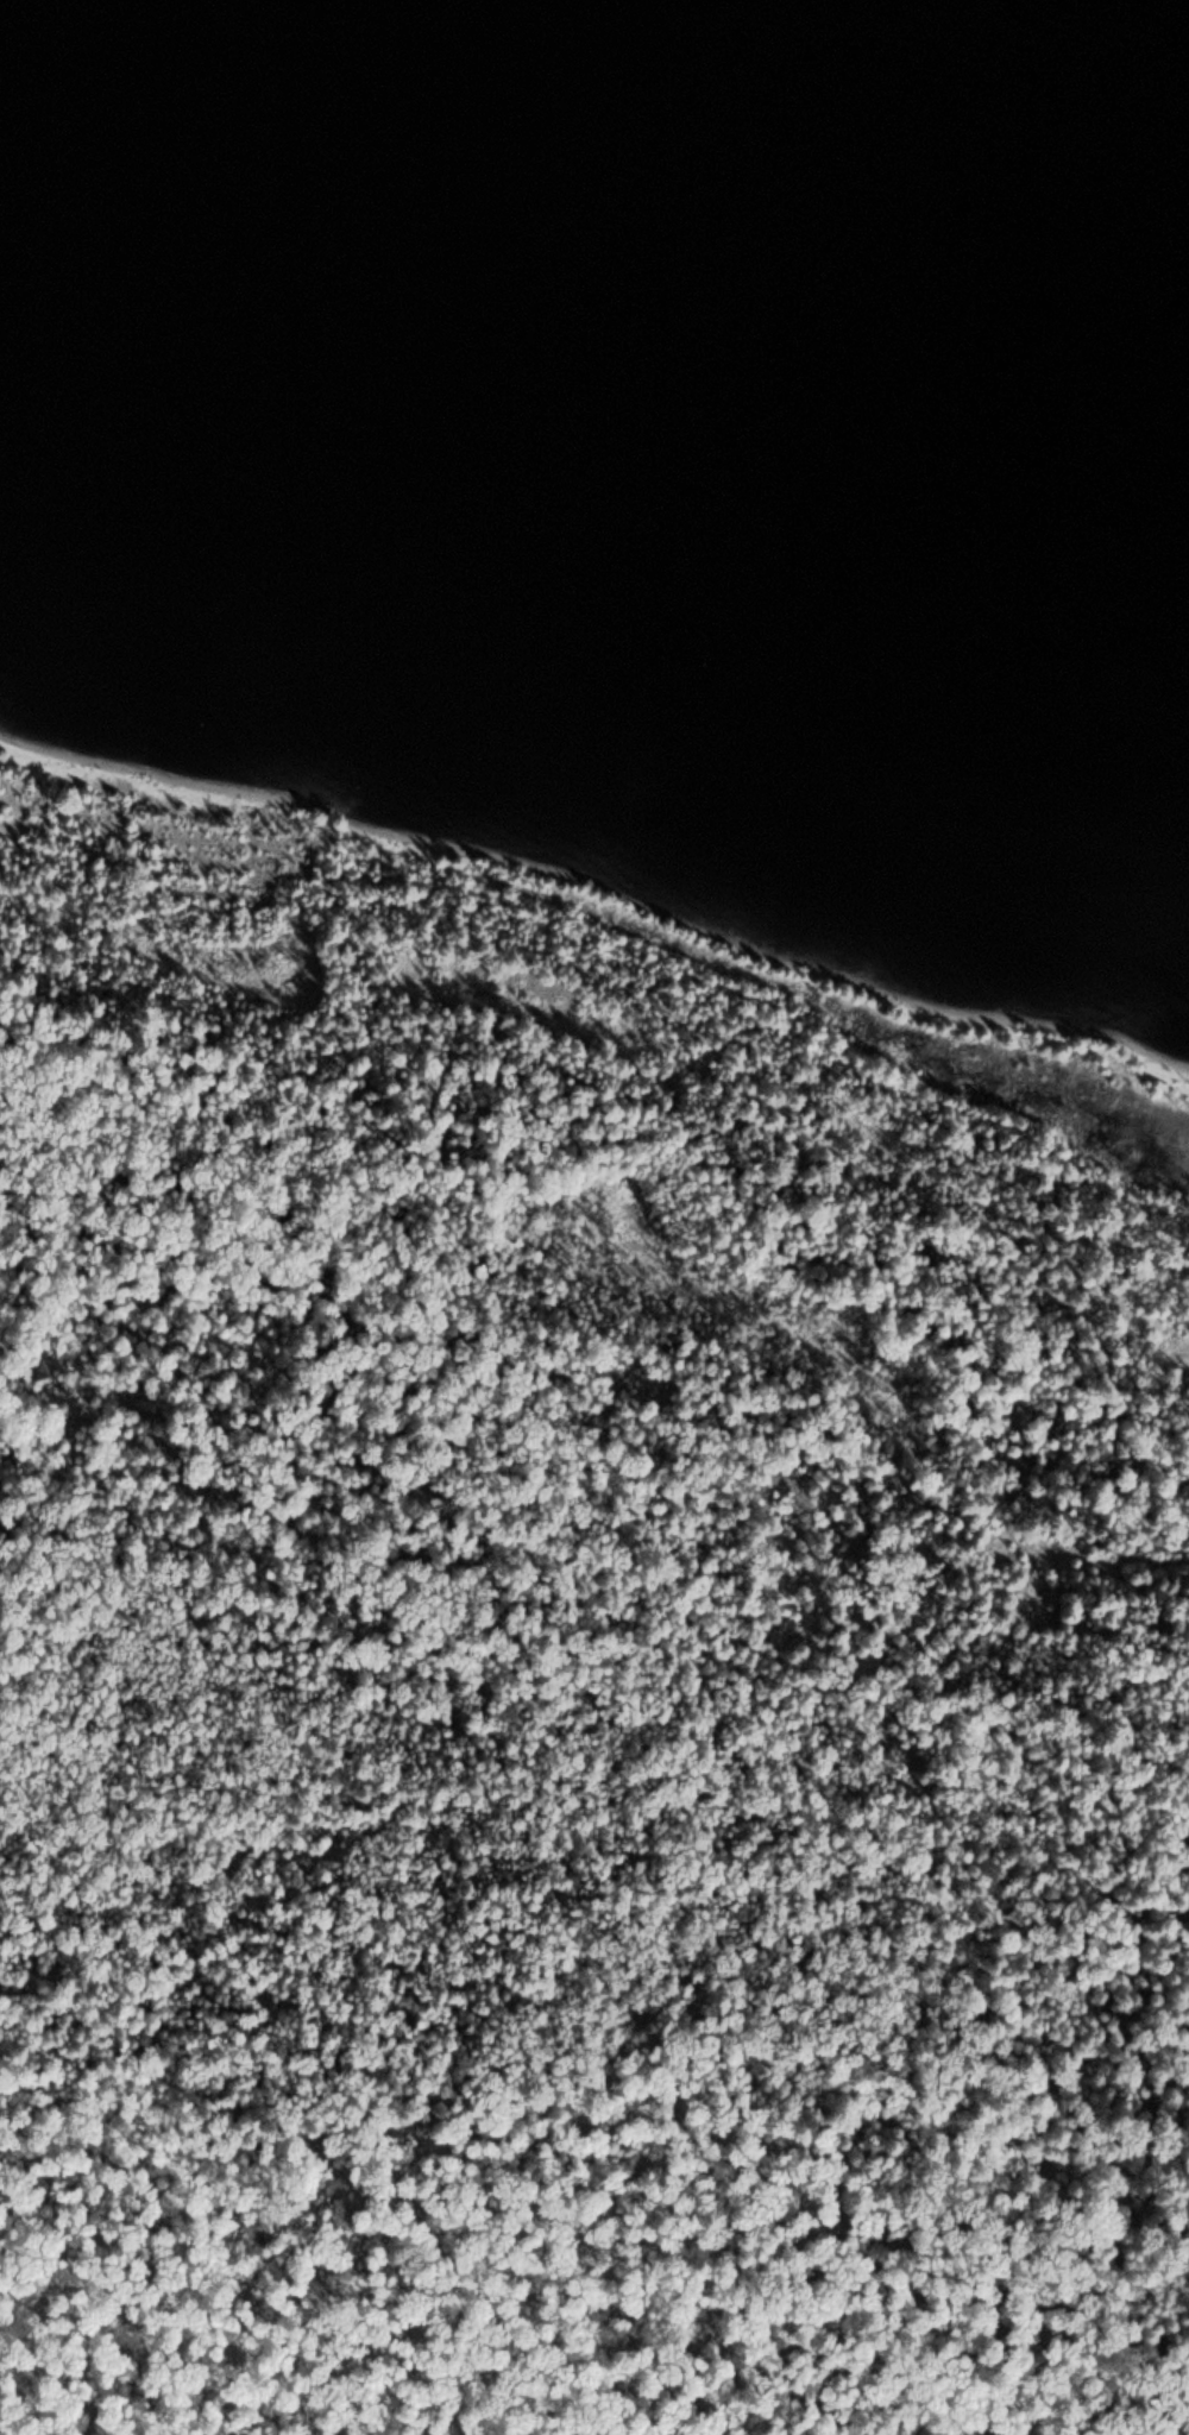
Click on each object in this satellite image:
road: (905, 1861)

